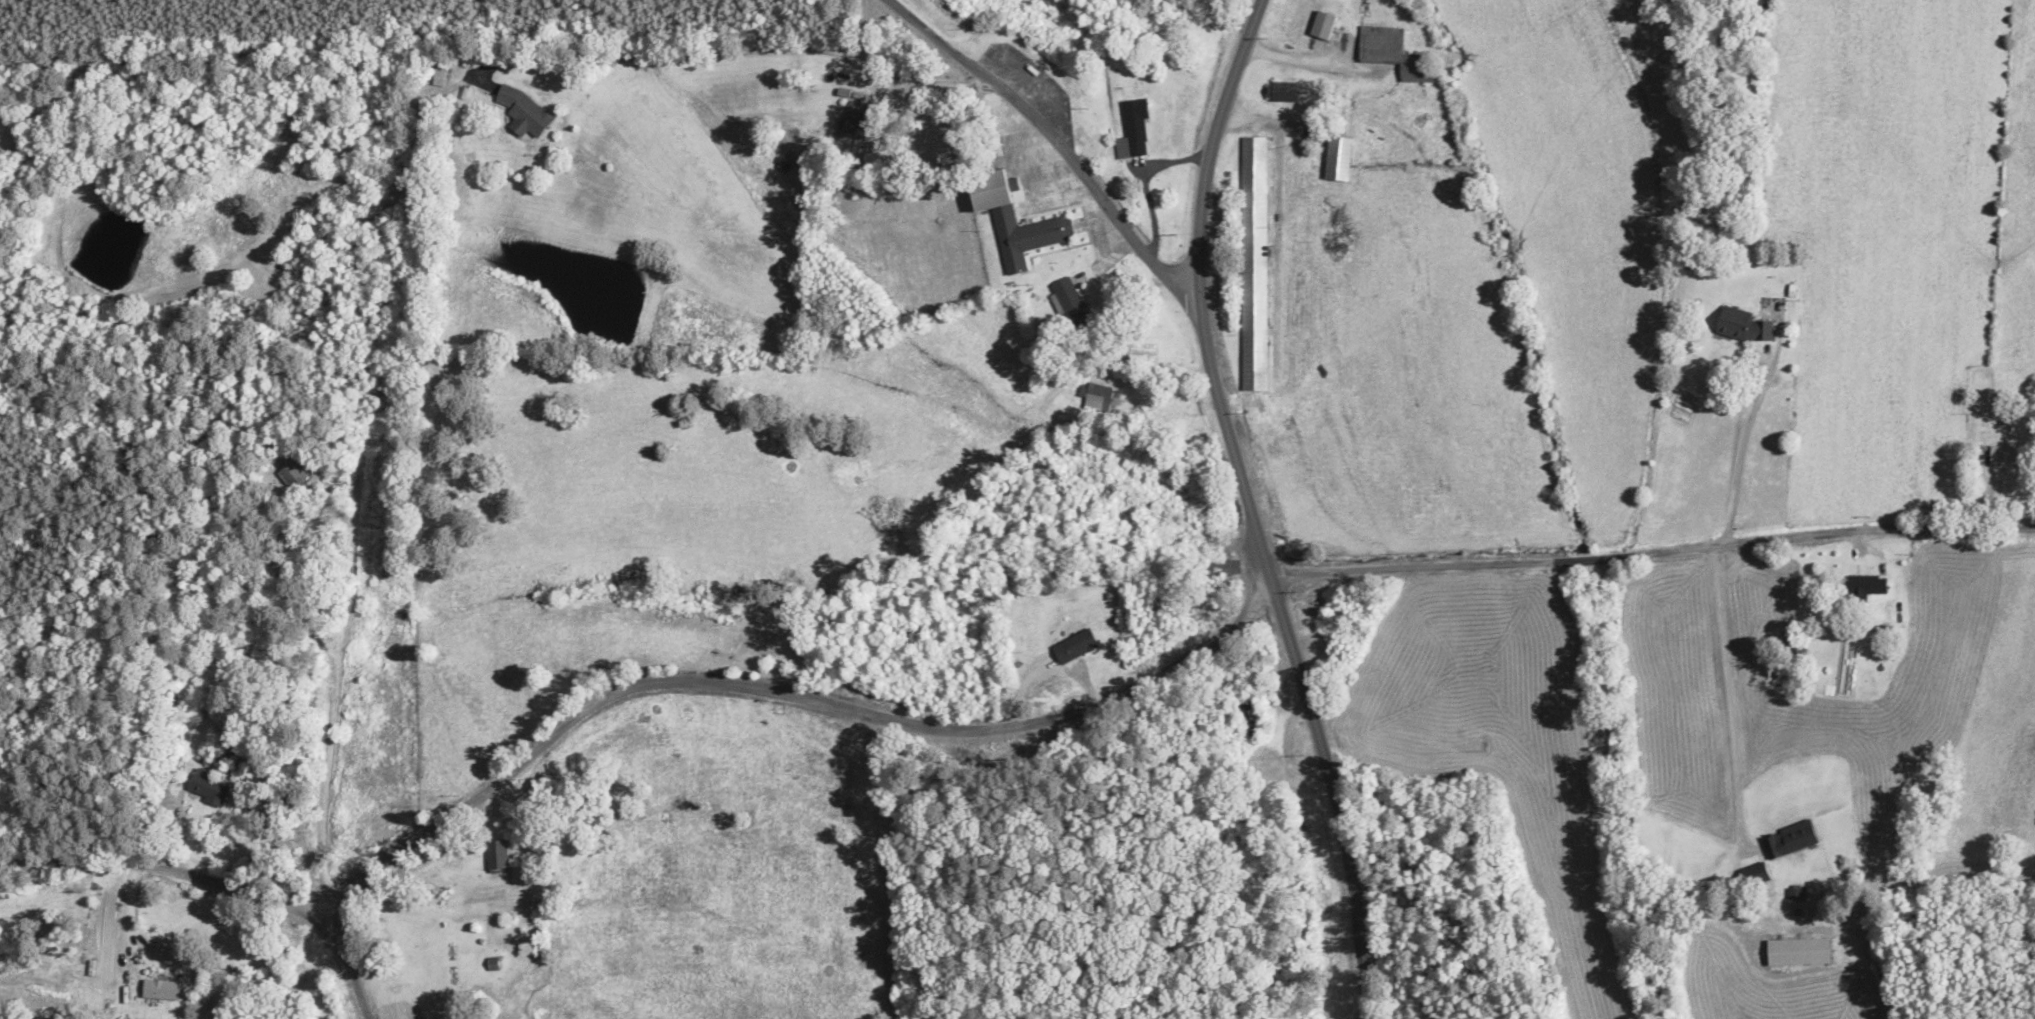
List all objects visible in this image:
building: (1322, 26)
building: (1393, 54)
building: (438, 73)
building: (525, 116)
building: (1132, 130)
road: (1042, 150)
building: (1337, 157)
building: (1011, 222)
building: (1297, 263)
building: (1252, 265)
building: (1067, 300)
building: (1744, 327)
building: (1096, 400)
building: (2007, 457)
building: (289, 474)
road: (1251, 513)
building: (1863, 588)
building: (1073, 648)
road: (1172, 692)
road: (204, 730)
building: (206, 790)
building: (1789, 840)
building: (495, 856)
road: (165, 892)
building: (1795, 895)
road: (340, 961)
building: (492, 965)
road: (1649, 974)
building: (159, 989)

